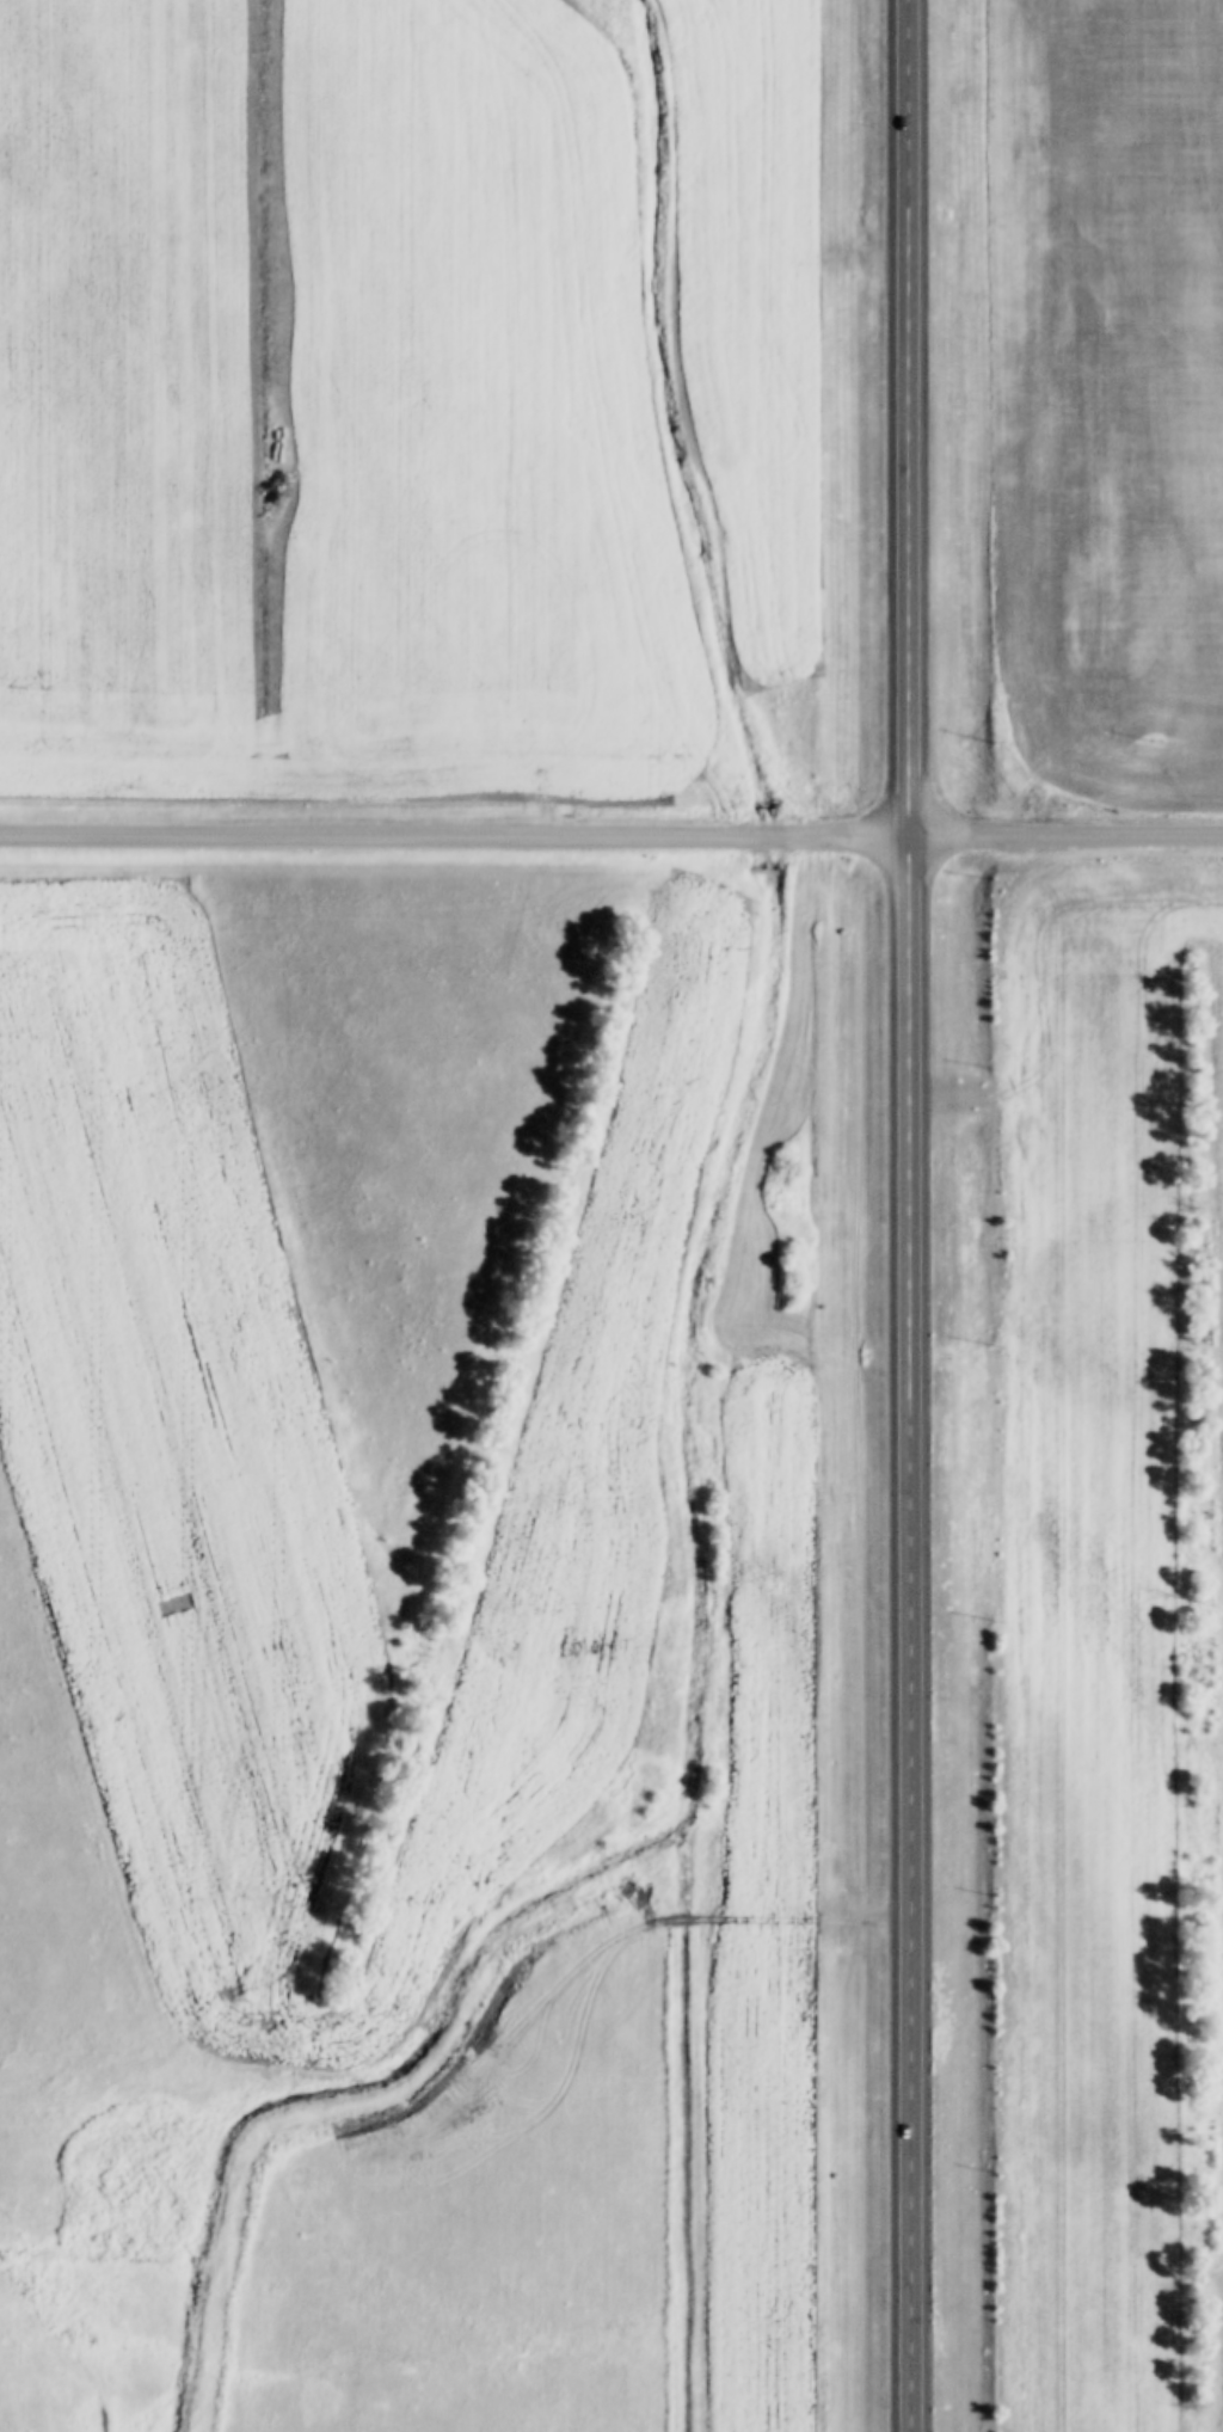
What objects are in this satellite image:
road: (377, 836)
road: (1067, 837)
road: (764, 839)
road: (841, 839)
road: (909, 1216)

